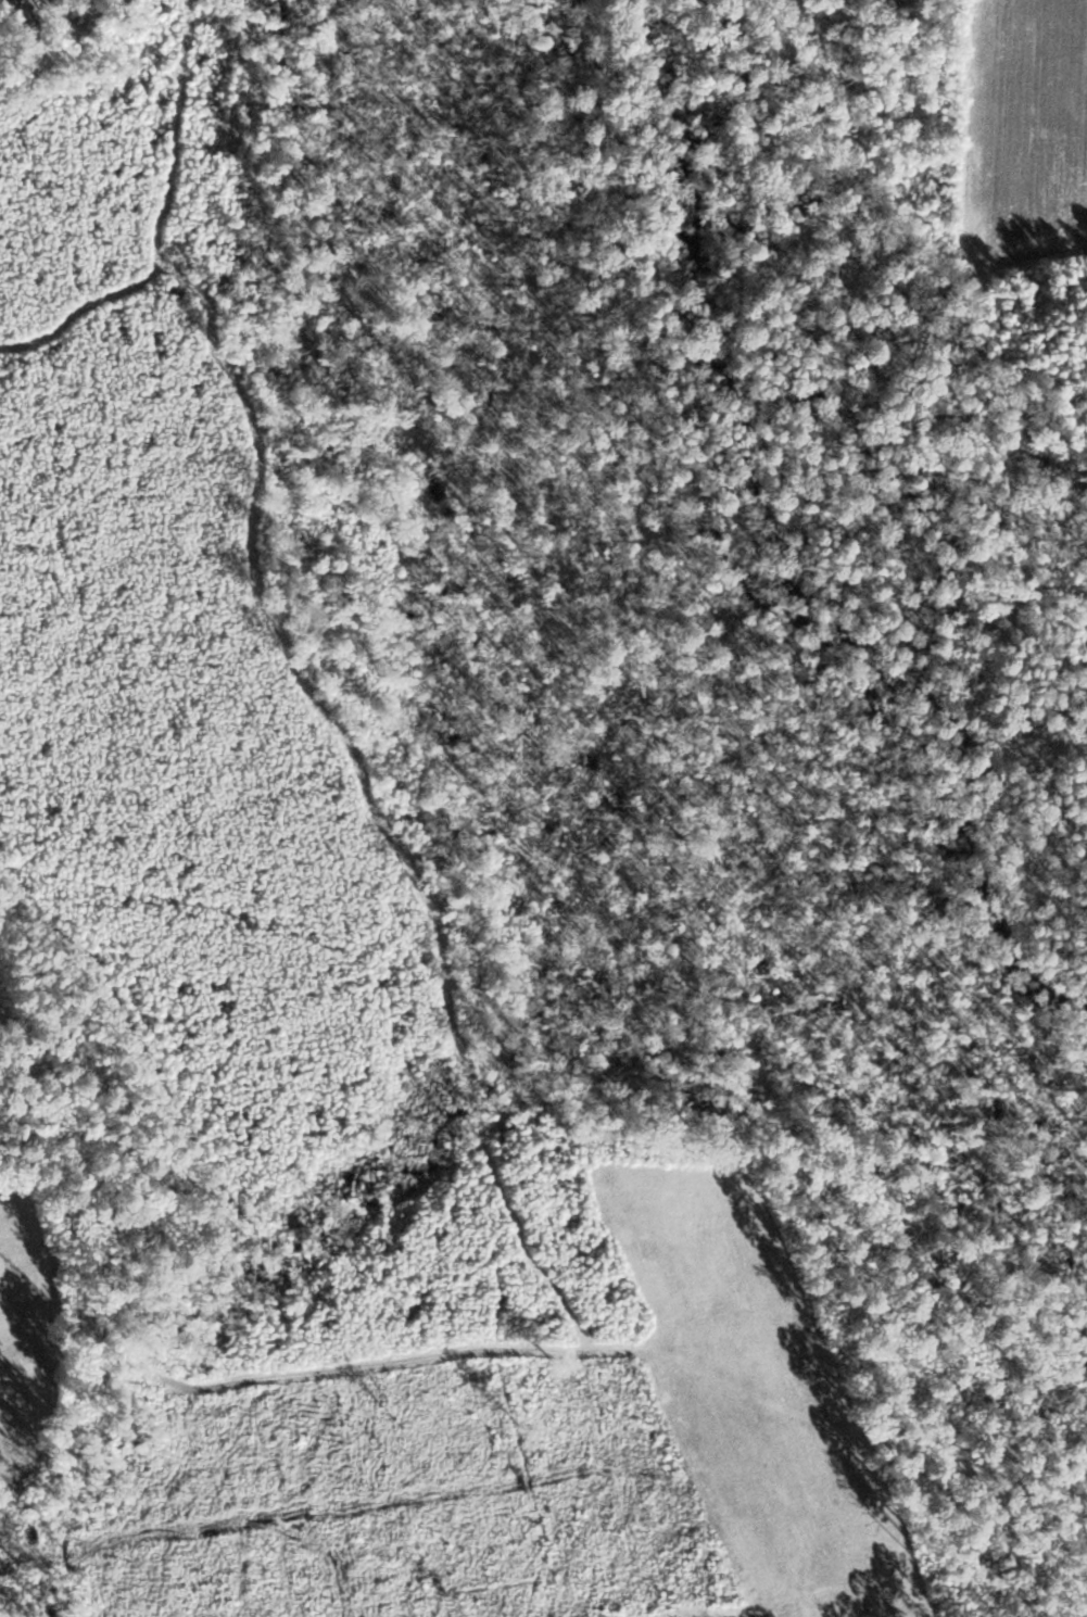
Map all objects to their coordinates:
road: (10, 1470)

